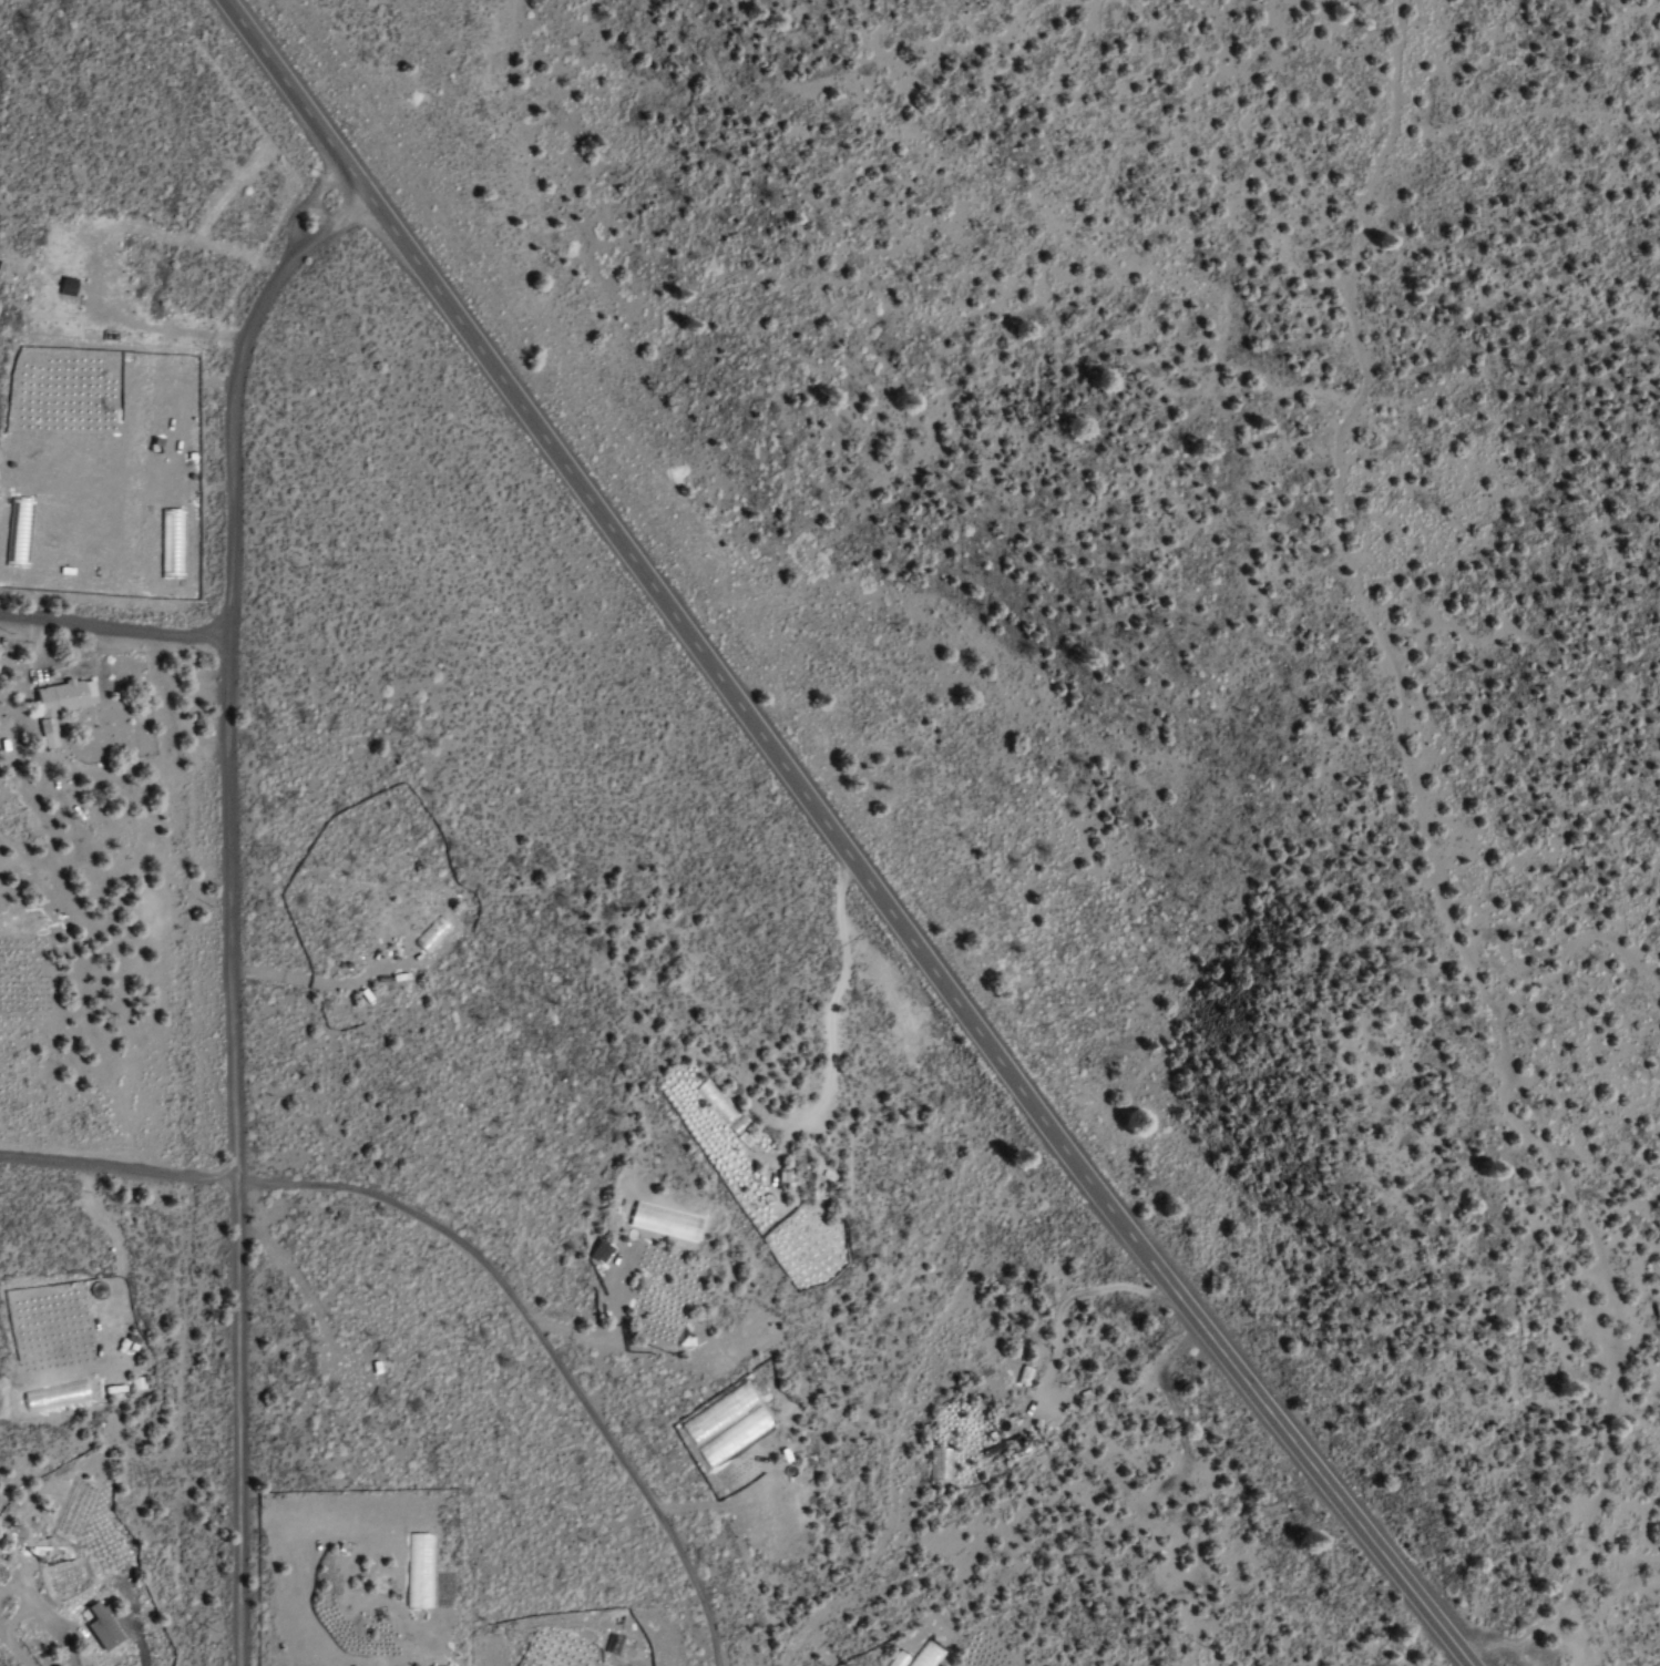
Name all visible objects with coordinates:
road: (112, 631)
building: (59, 704)
road: (171, 828)
road: (832, 841)
road: (1425, 845)
road: (227, 907)
building: (27, 921)
road: (469, 1250)
building: (71, 1513)
building: (100, 1627)

